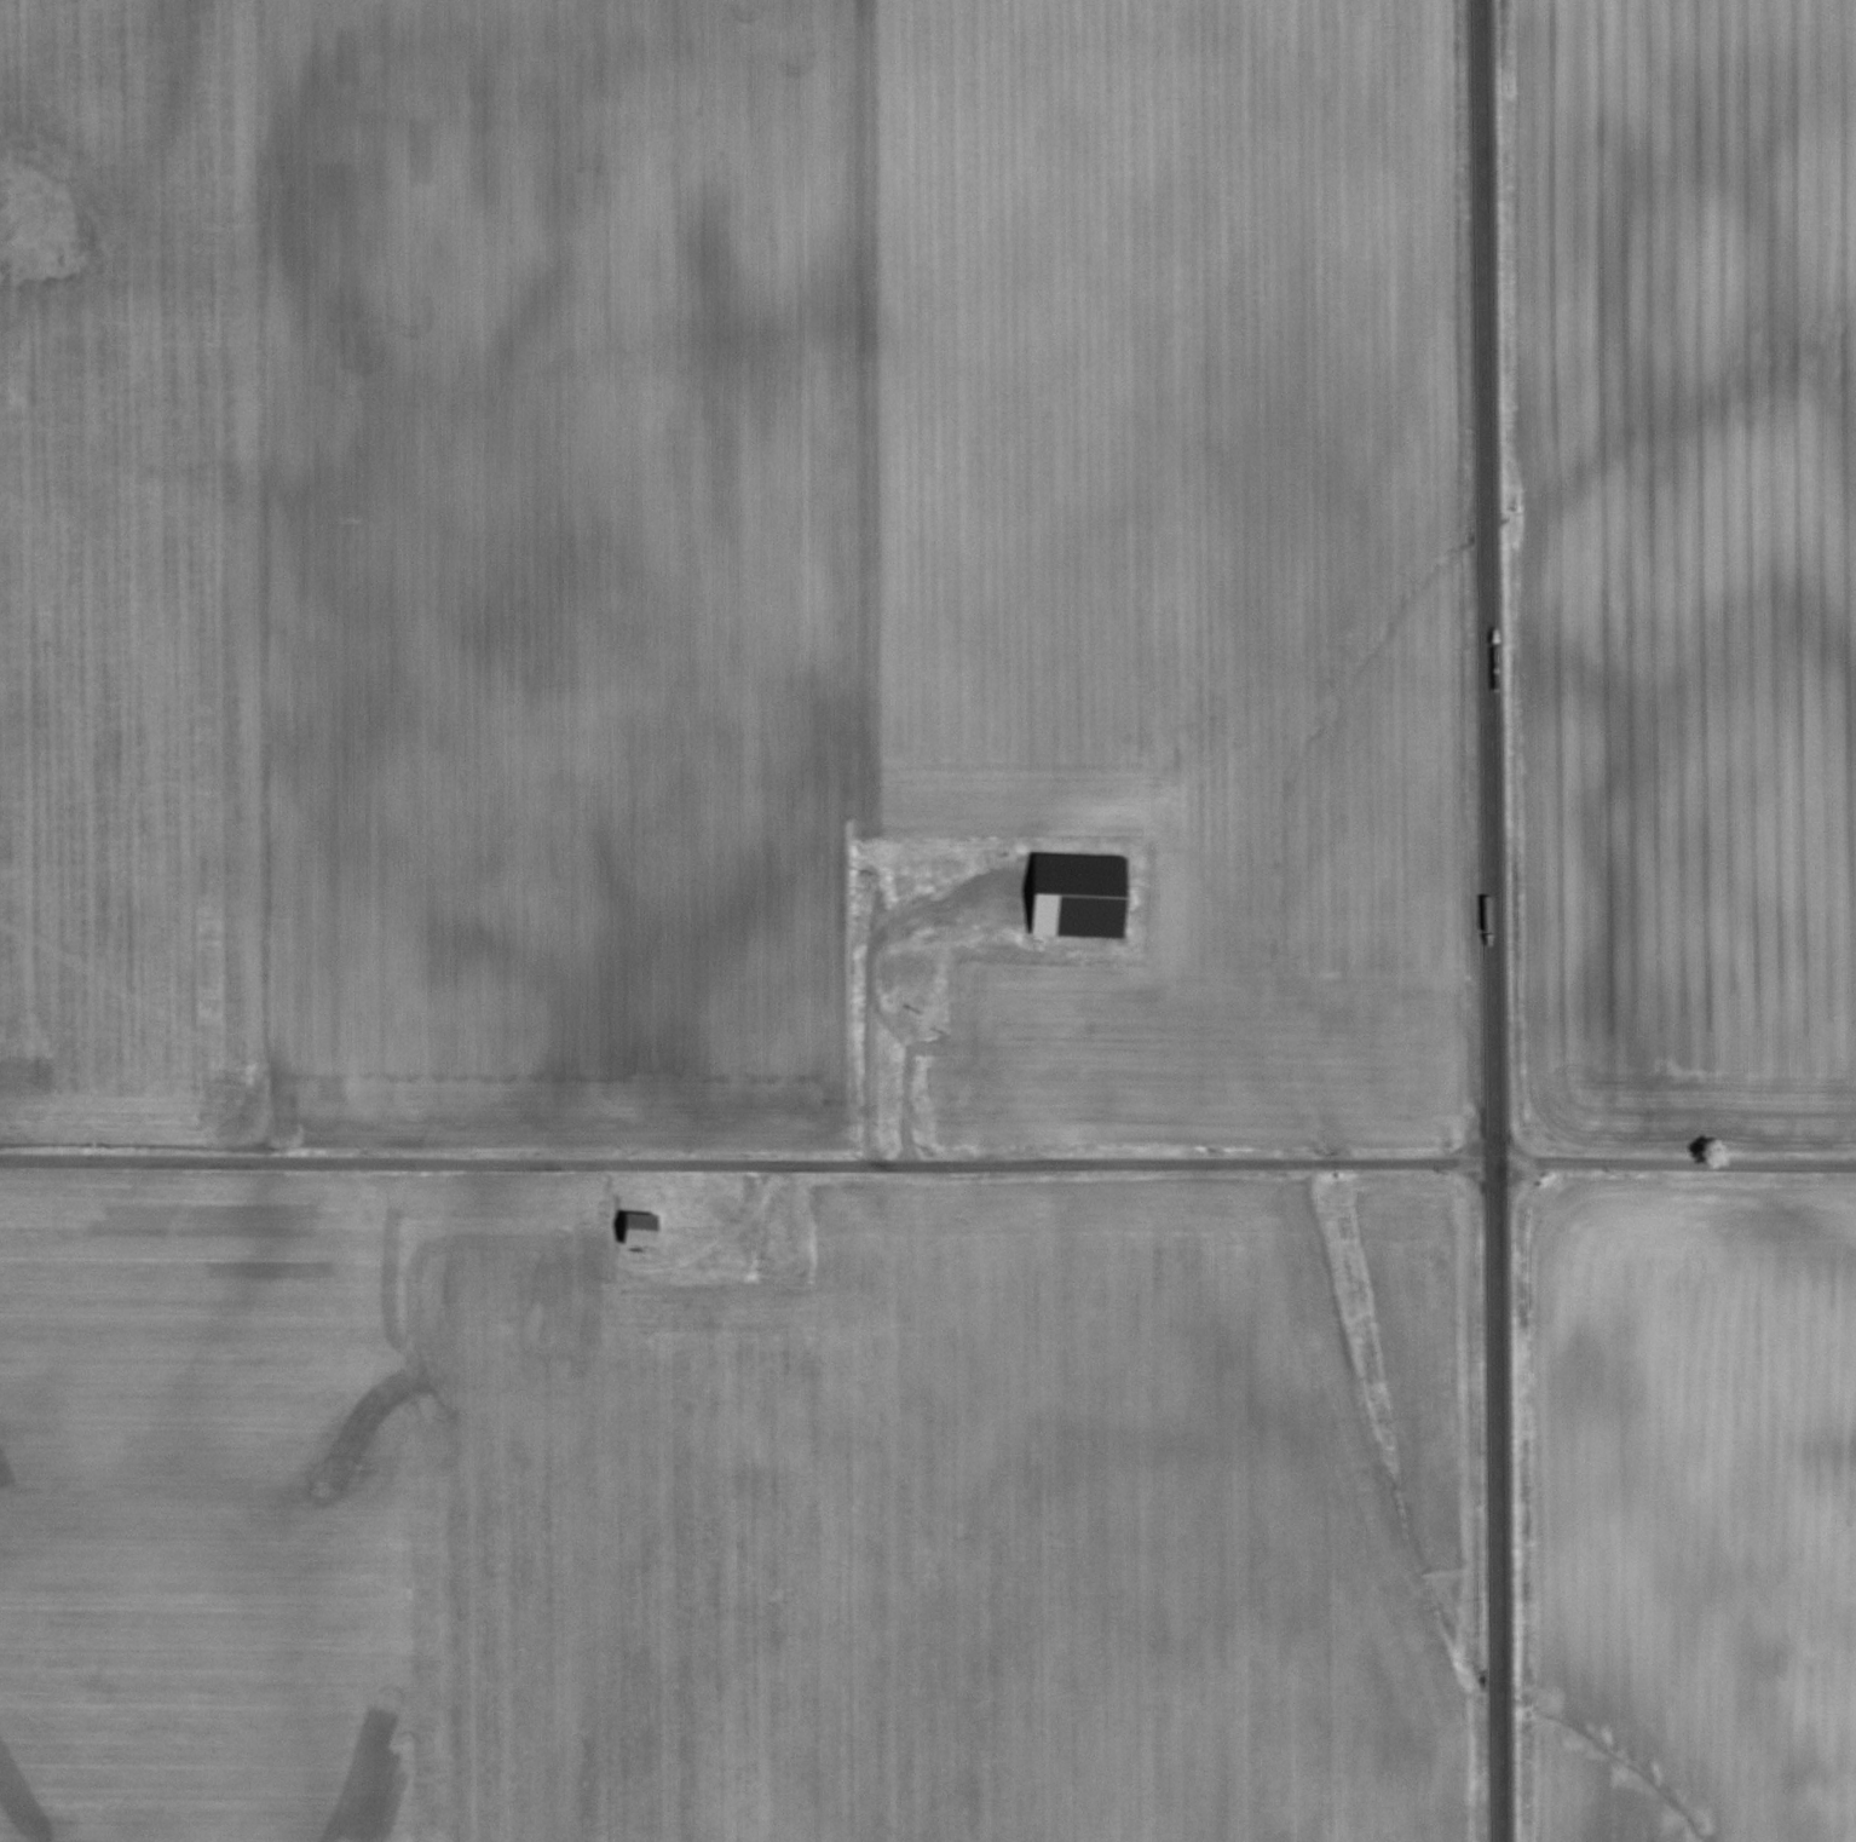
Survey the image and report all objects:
building: (1082, 896)
road: (1495, 920)
road: (863, 992)
road: (1677, 1161)
road: (749, 1164)
road: (754, 1225)
building: (642, 1232)

